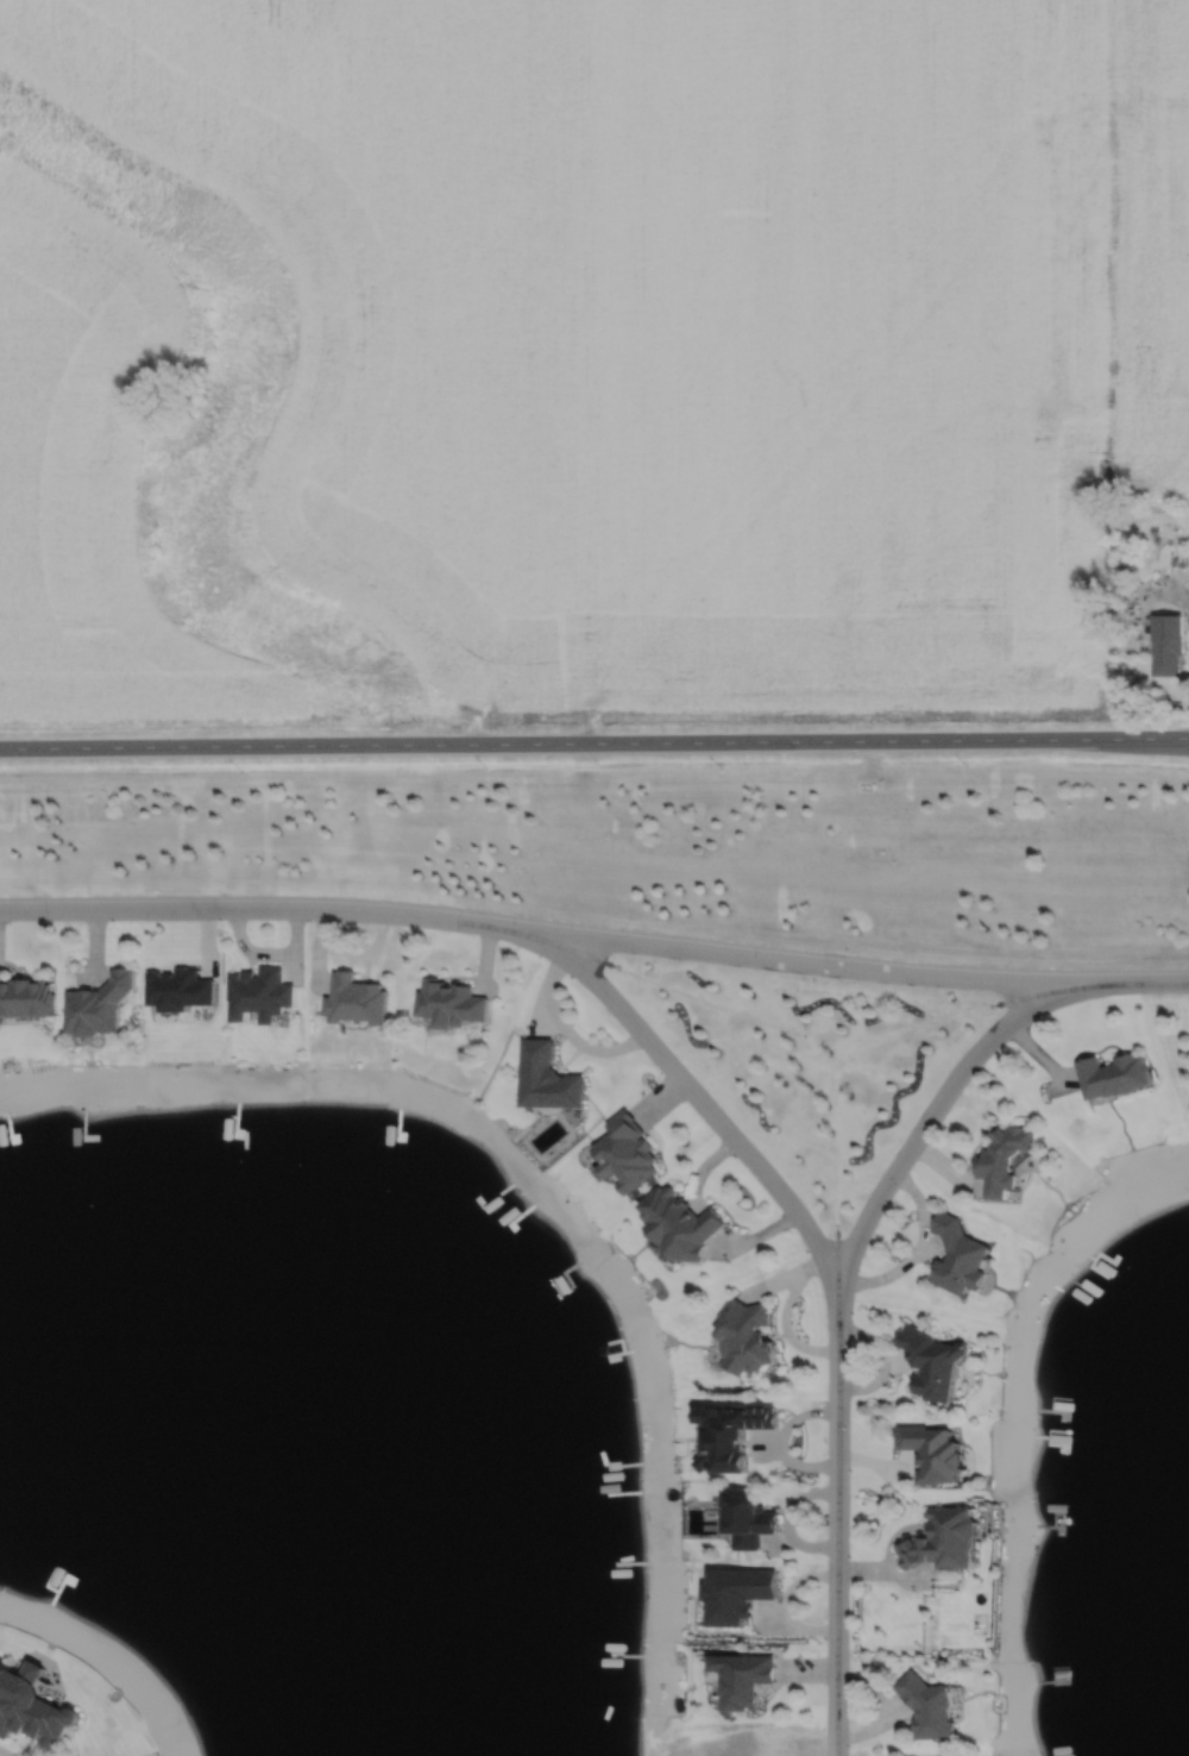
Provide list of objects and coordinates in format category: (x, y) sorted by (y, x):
crop: (1157, 247)
crop: (372, 284)
crop: (822, 351)
crop: (90, 475)
building: (1174, 558)
building: (1134, 592)
building: (1165, 641)
road: (594, 742)
road: (594, 937)
building: (178, 989)
building: (259, 993)
building: (25, 997)
building: (354, 999)
building: (451, 1003)
building: (101, 1004)
road: (572, 1027)
building: (1112, 1075)
building: (548, 1078)
road: (681, 1080)
road: (938, 1102)
building: (624, 1153)
building: (1004, 1159)
building: (677, 1225)
building: (958, 1256)
building: (743, 1340)
building: (932, 1361)
building: (730, 1431)
building: (931, 1450)
building: (712, 1500)
building: (746, 1516)
road: (835, 1525)
building: (944, 1538)
building: (736, 1592)
building: (744, 1679)
building: (31, 1704)
building: (927, 1706)
road: (6, 1754)

